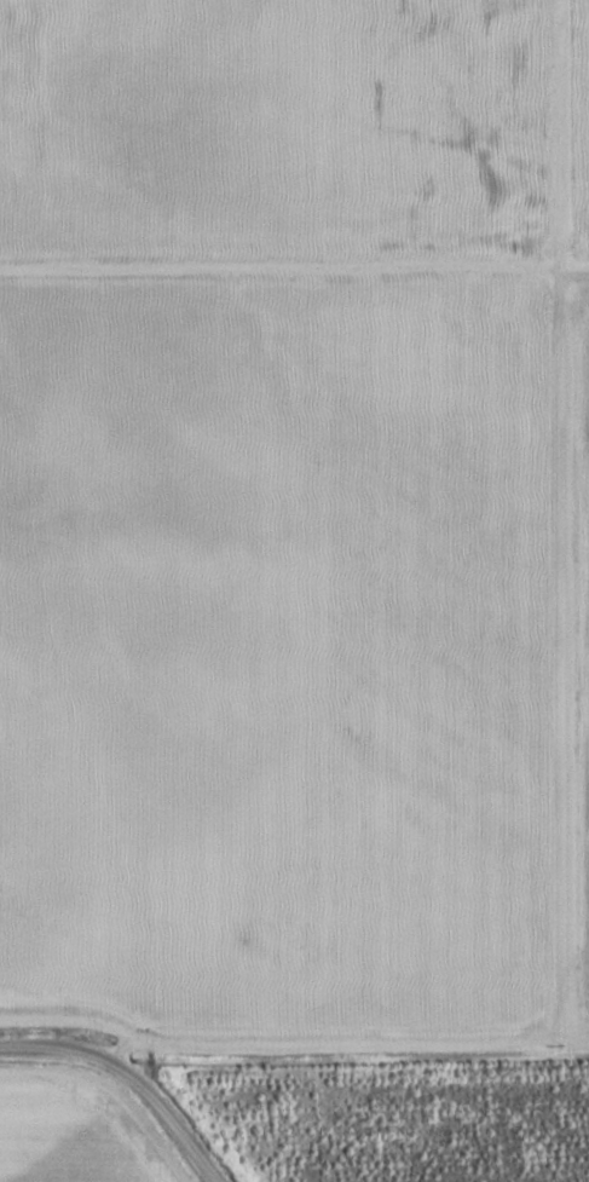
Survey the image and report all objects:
road: (128, 1076)

